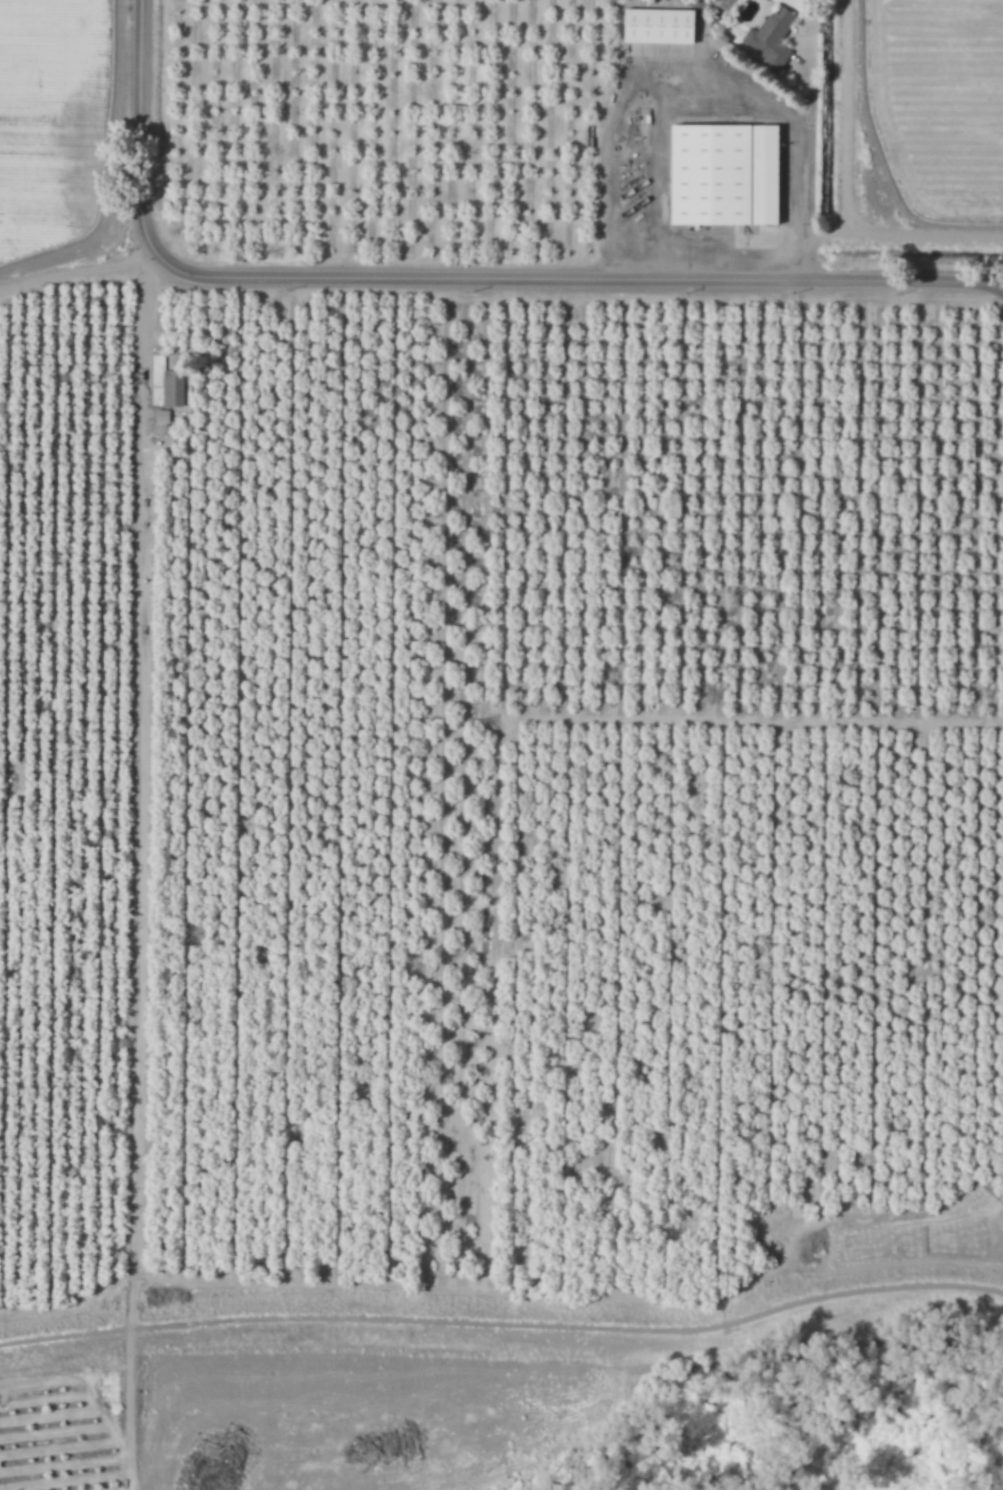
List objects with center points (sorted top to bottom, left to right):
building: (656, 27)
building: (720, 176)
road: (875, 234)
road: (449, 280)
road: (999, 286)
road: (143, 344)
building: (174, 388)
building: (153, 428)
road: (503, 1326)

